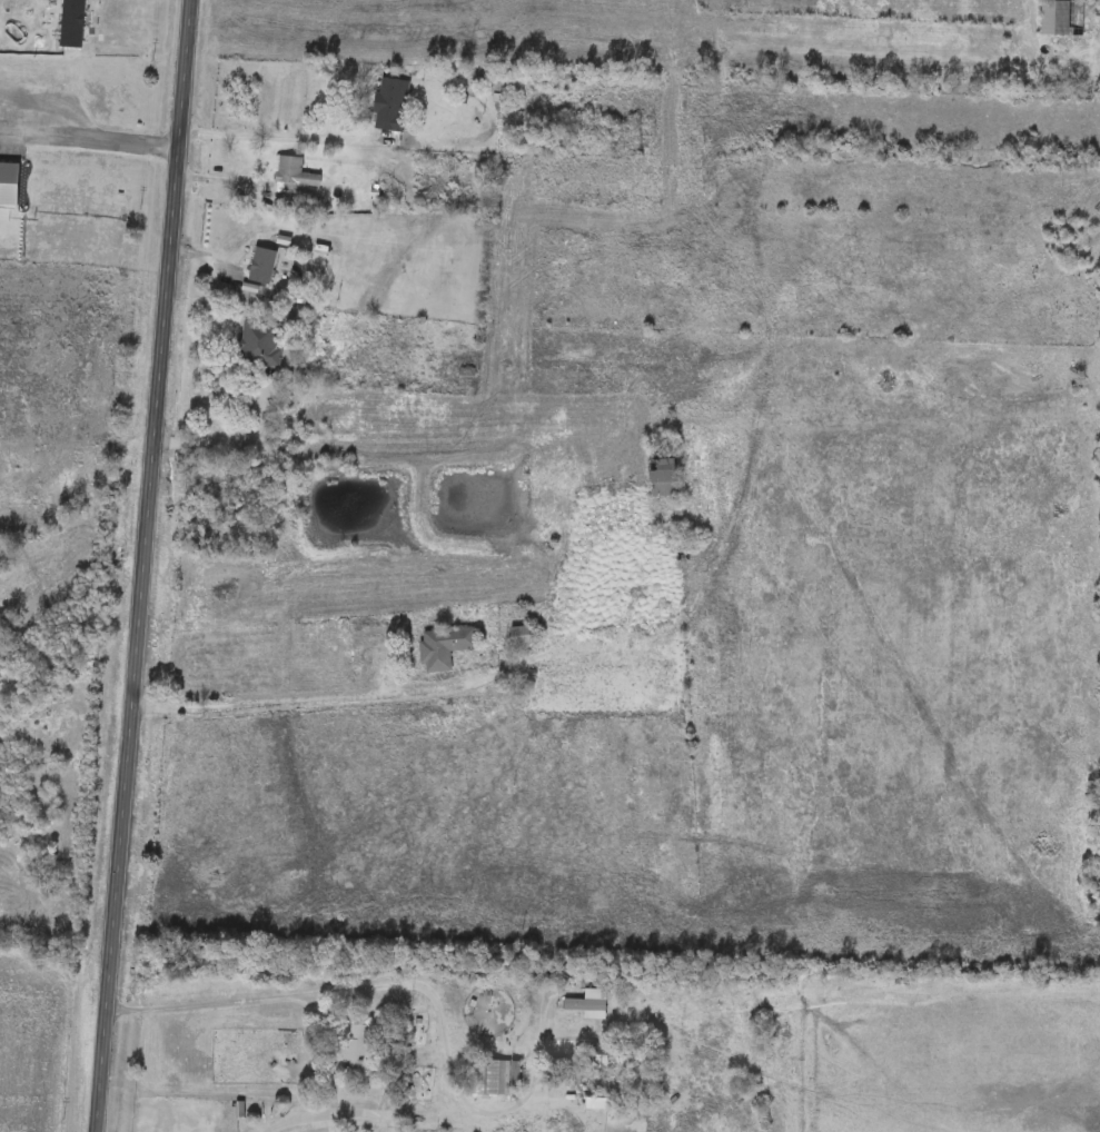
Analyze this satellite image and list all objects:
building: (1069, 18)
building: (72, 23)
road: (685, 40)
building: (392, 103)
road: (89, 132)
road: (276, 138)
building: (623, 171)
building: (294, 175)
building: (10, 183)
building: (257, 344)
road: (229, 429)
building: (655, 471)
road: (141, 565)
building: (522, 636)
building: (444, 648)
road: (405, 976)
building: (589, 1003)
building: (356, 1049)
building: (611, 1072)
building: (495, 1076)
road: (324, 1115)

